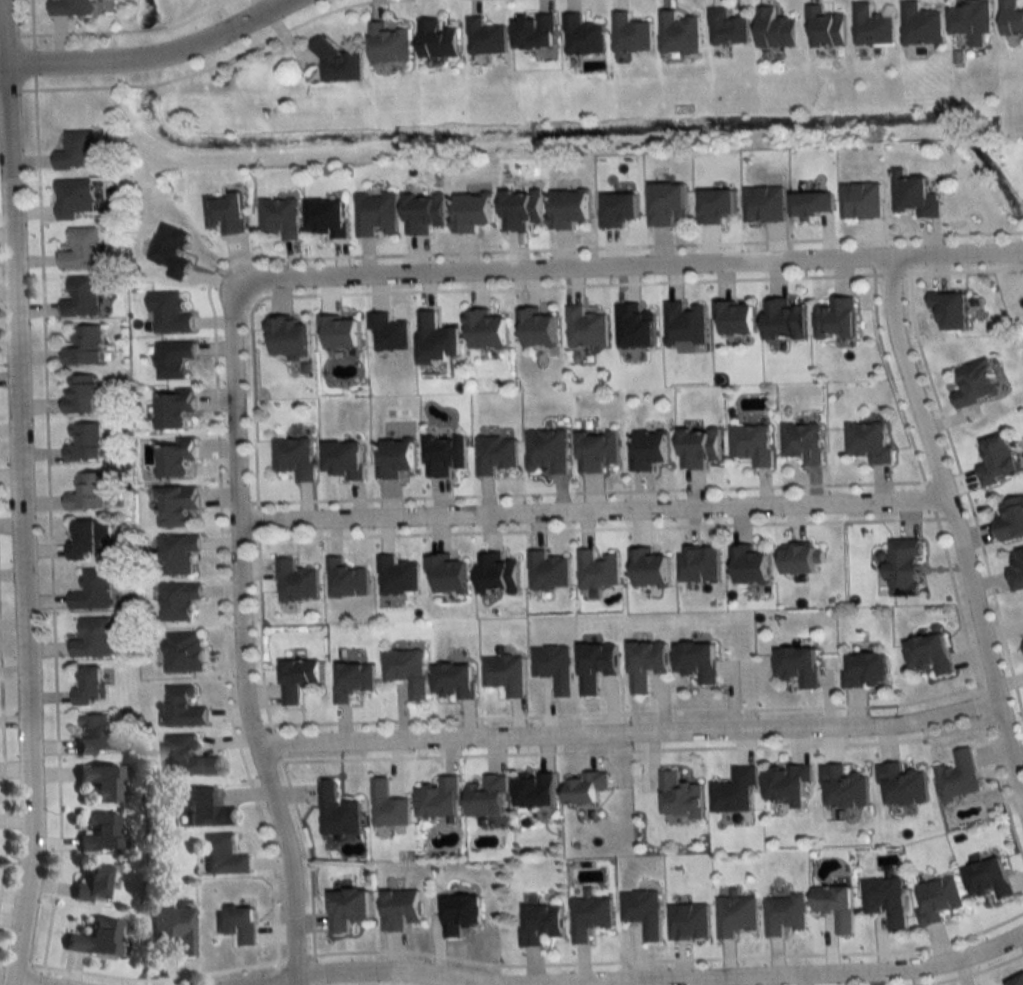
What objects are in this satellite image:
building: (70, 7)
road: (196, 13)
building: (972, 18)
building: (1012, 18)
road: (32, 24)
building: (921, 24)
building: (873, 26)
building: (727, 27)
building: (826, 28)
building: (775, 29)
road: (142, 31)
road: (68, 32)
building: (534, 32)
road: (9, 34)
building: (630, 34)
building: (679, 34)
building: (582, 36)
building: (485, 37)
building: (436, 40)
building: (388, 45)
road: (148, 56)
road: (33, 61)
building: (337, 64)
road: (206, 67)
road: (10, 90)
building: (75, 150)
building: (914, 195)
building: (73, 198)
building: (861, 200)
building: (666, 203)
building: (812, 203)
building: (764, 204)
building: (520, 208)
building: (569, 208)
building: (472, 211)
building: (226, 212)
building: (423, 212)
building: (376, 213)
building: (280, 216)
building: (327, 217)
building: (81, 250)
building: (171, 250)
road: (262, 254)
road: (637, 264)
road: (963, 269)
road: (891, 273)
road: (6, 280)
road: (462, 288)
building: (81, 297)
road: (0, 299)
building: (169, 313)
building: (735, 316)
building: (835, 318)
building: (783, 319)
building: (685, 323)
building: (635, 326)
building: (536, 327)
building: (586, 328)
building: (486, 329)
building: (340, 331)
building: (388, 332)
building: (288, 335)
building: (436, 338)
building: (84, 345)
building: (173, 358)
road: (890, 378)
building: (976, 383)
building: (81, 393)
building: (174, 409)
building: (83, 441)
building: (803, 442)
building: (868, 442)
building: (752, 444)
building: (698, 447)
building: (649, 449)
building: (597, 450)
building: (547, 451)
building: (496, 454)
building: (444, 455)
building: (176, 456)
building: (295, 456)
building: (395, 457)
building: (343, 458)
building: (998, 459)
road: (590, 490)
building: (88, 492)
road: (20, 493)
road: (966, 493)
road: (929, 496)
building: (177, 505)
road: (593, 509)
road: (257, 519)
building: (1011, 519)
road: (49, 524)
road: (597, 527)
road: (957, 527)
building: (83, 538)
building: (178, 553)
building: (799, 558)
building: (699, 563)
building: (749, 565)
building: (904, 566)
building: (648, 567)
building: (598, 570)
building: (548, 571)
building: (1016, 571)
building: (497, 573)
building: (448, 574)
building: (397, 576)
building: (347, 579)
building: (296, 582)
building: (92, 590)
road: (956, 600)
building: (178, 601)
road: (242, 631)
road: (259, 631)
building: (93, 639)
building: (1022, 642)
building: (183, 652)
building: (929, 653)
building: (697, 661)
building: (646, 663)
building: (595, 665)
building: (554, 666)
building: (798, 666)
building: (865, 669)
building: (406, 670)
building: (505, 673)
building: (297, 678)
building: (353, 679)
building: (453, 681)
building: (88, 686)
road: (980, 703)
building: (183, 707)
road: (620, 712)
building: (93, 733)
road: (629, 733)
road: (275, 742)
road: (633, 748)
building: (187, 756)
building: (957, 775)
road: (2, 778)
building: (98, 781)
building: (787, 782)
building: (902, 785)
building: (585, 787)
road: (1000, 787)
building: (844, 788)
building: (535, 789)
building: (734, 791)
building: (487, 796)
building: (679, 796)
building: (439, 798)
building: (388, 805)
building: (205, 808)
building: (337, 812)
building: (95, 832)
building: (223, 855)
road: (307, 855)
building: (989, 879)
building: (90, 883)
building: (937, 899)
building: (886, 900)
building: (835, 906)
building: (347, 908)
building: (399, 908)
building: (642, 912)
building: (460, 913)
building: (785, 914)
building: (735, 915)
building: (589, 917)
building: (688, 921)
building: (539, 923)
building: (237, 924)
building: (173, 929)
building: (93, 938)
road: (294, 957)
road: (667, 959)
road: (312, 971)
road: (396, 971)
road: (970, 972)
road: (776, 975)
road: (156, 977)
road: (276, 977)
road: (36, 978)
road: (271, 980)
building: (1016, 981)
road: (30, 982)
road: (313, 984)

